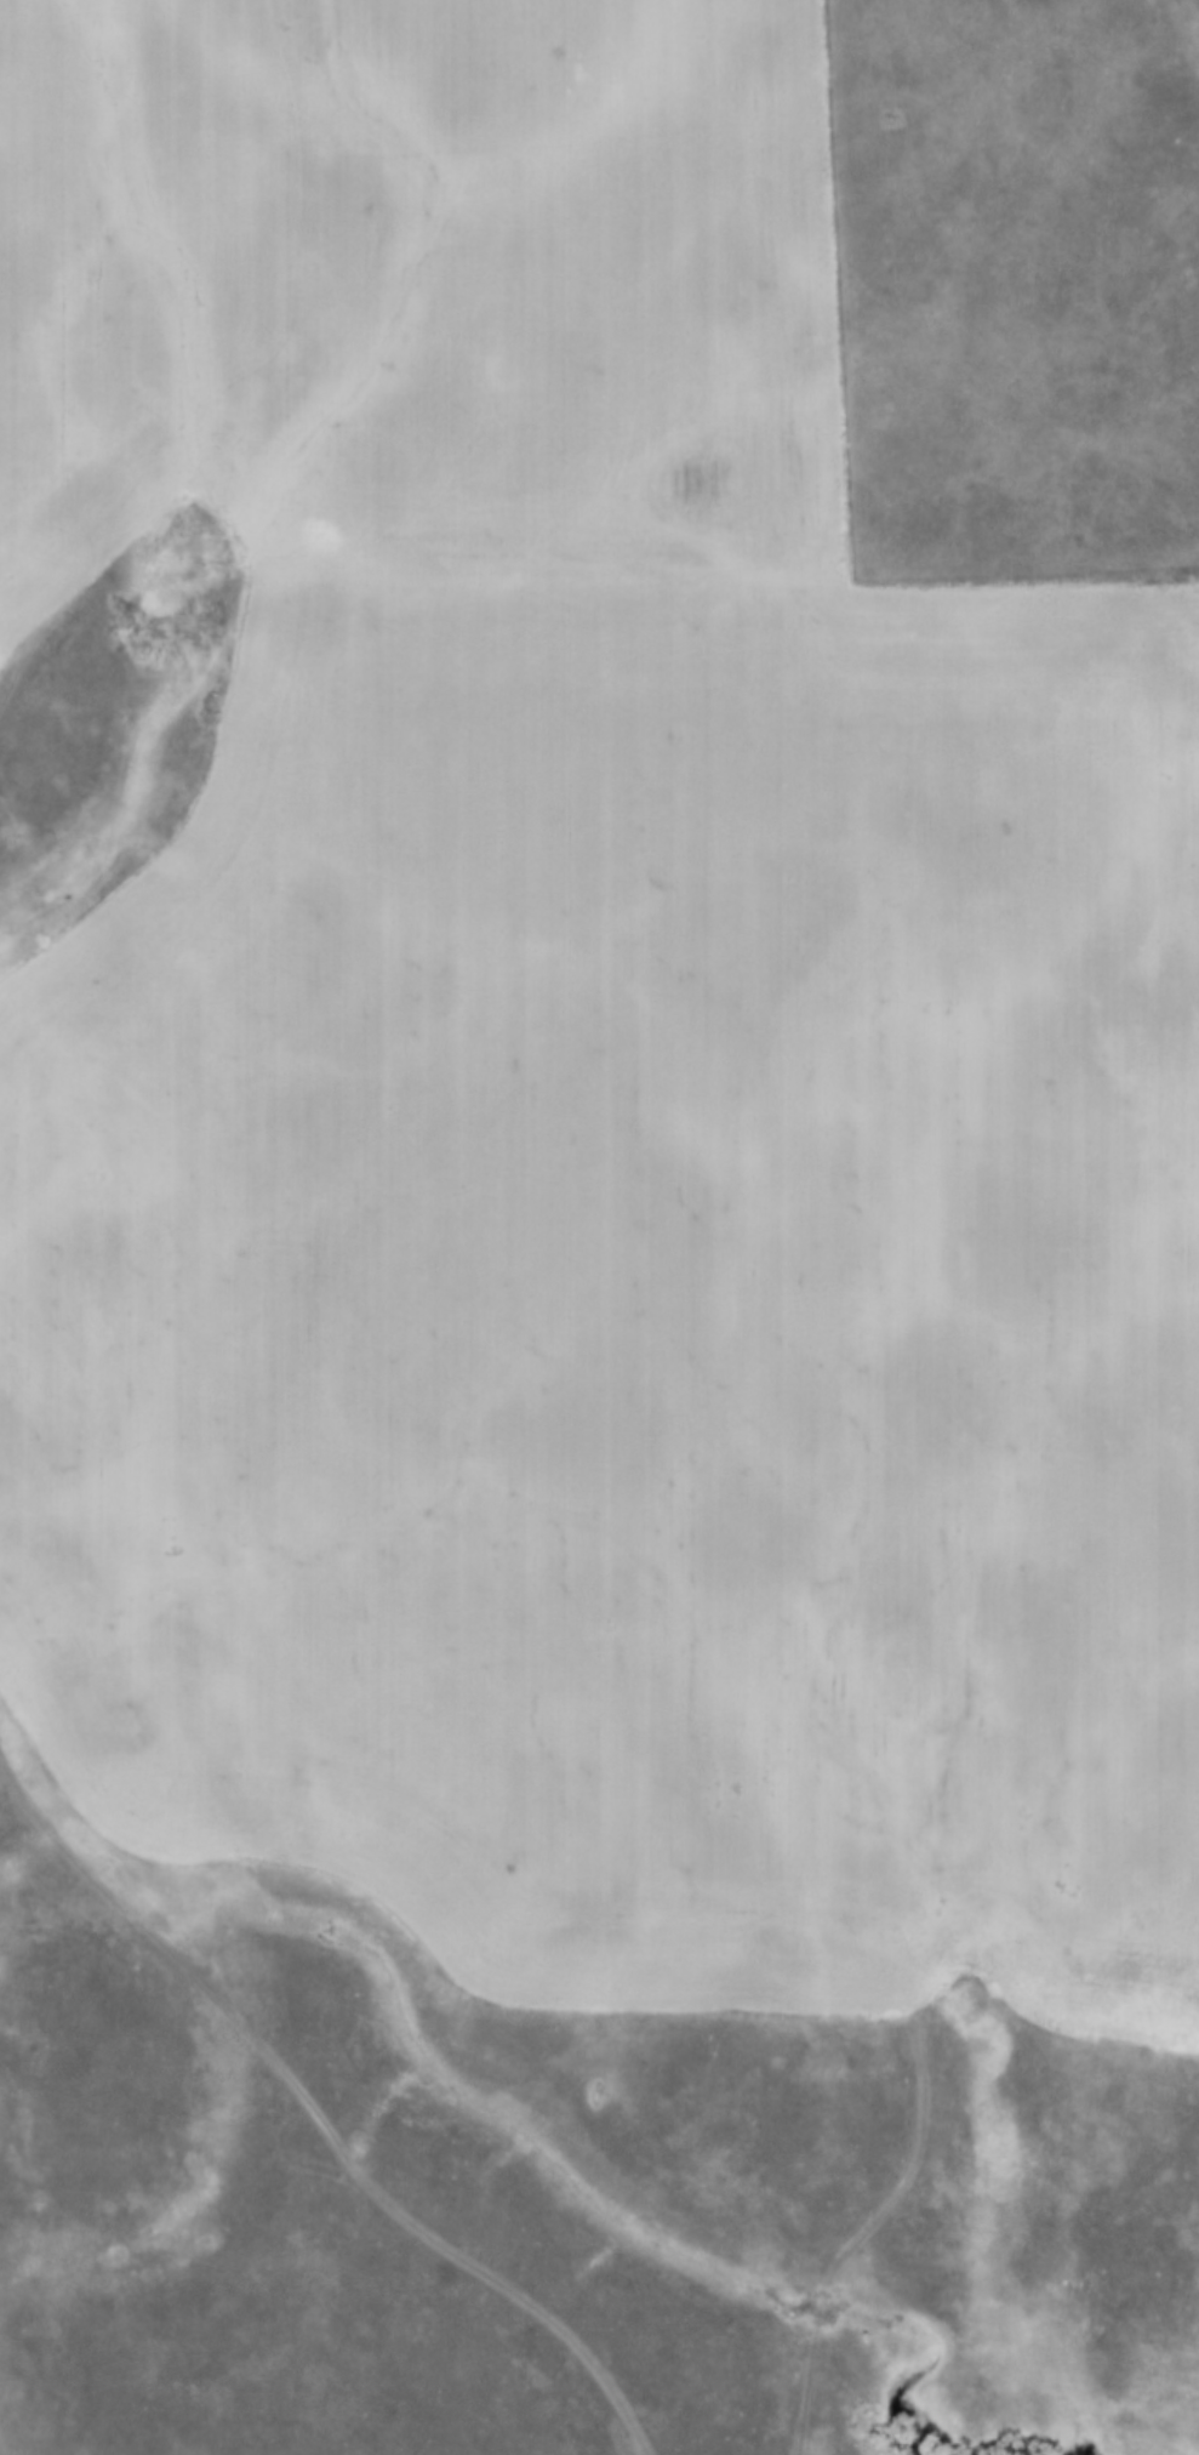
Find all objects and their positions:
road: (63, 576)
road: (326, 2117)
road: (863, 2233)

